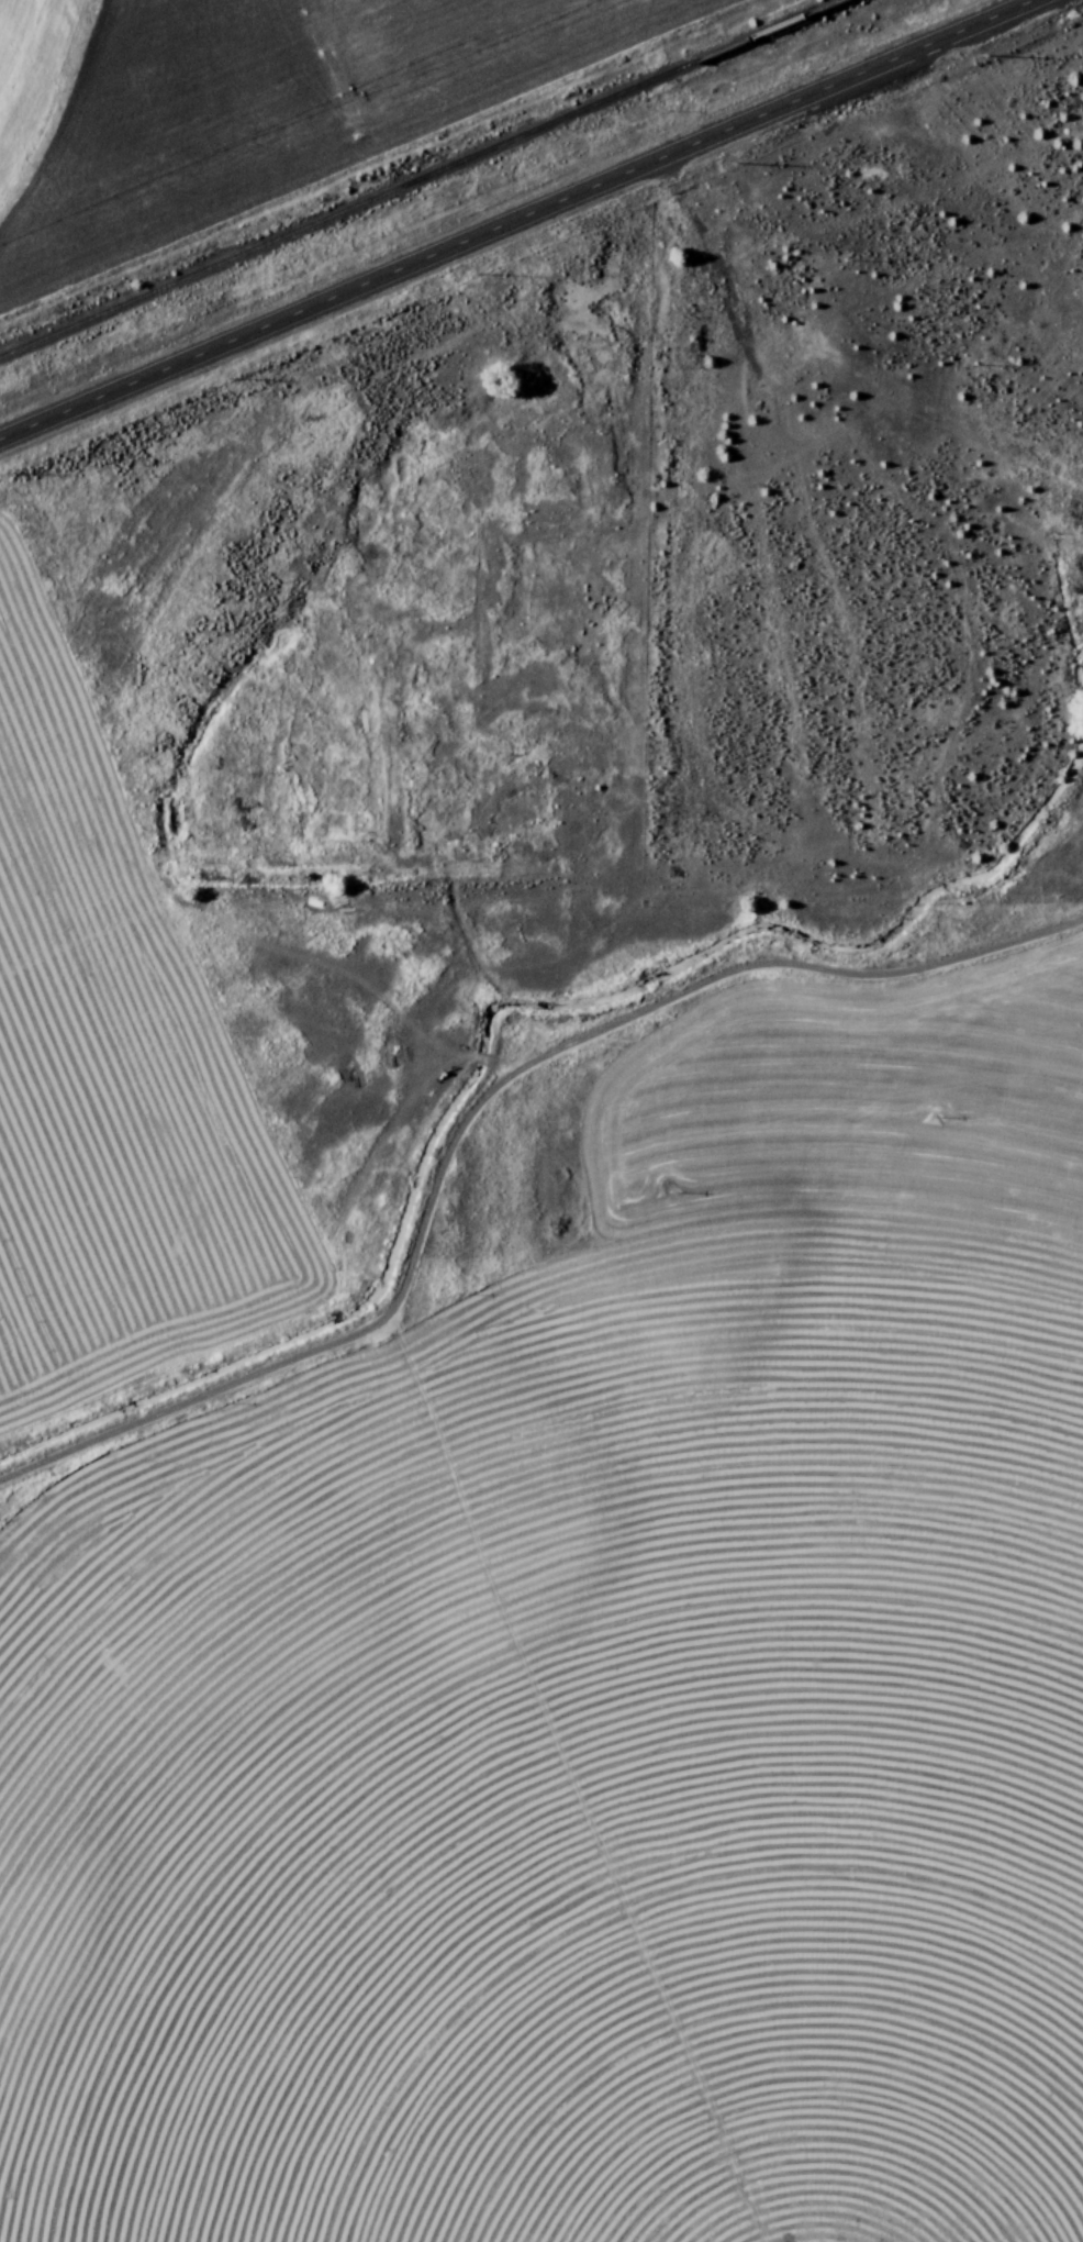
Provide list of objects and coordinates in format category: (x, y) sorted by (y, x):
railway: (422, 179)
road: (523, 221)
road: (868, 242)

